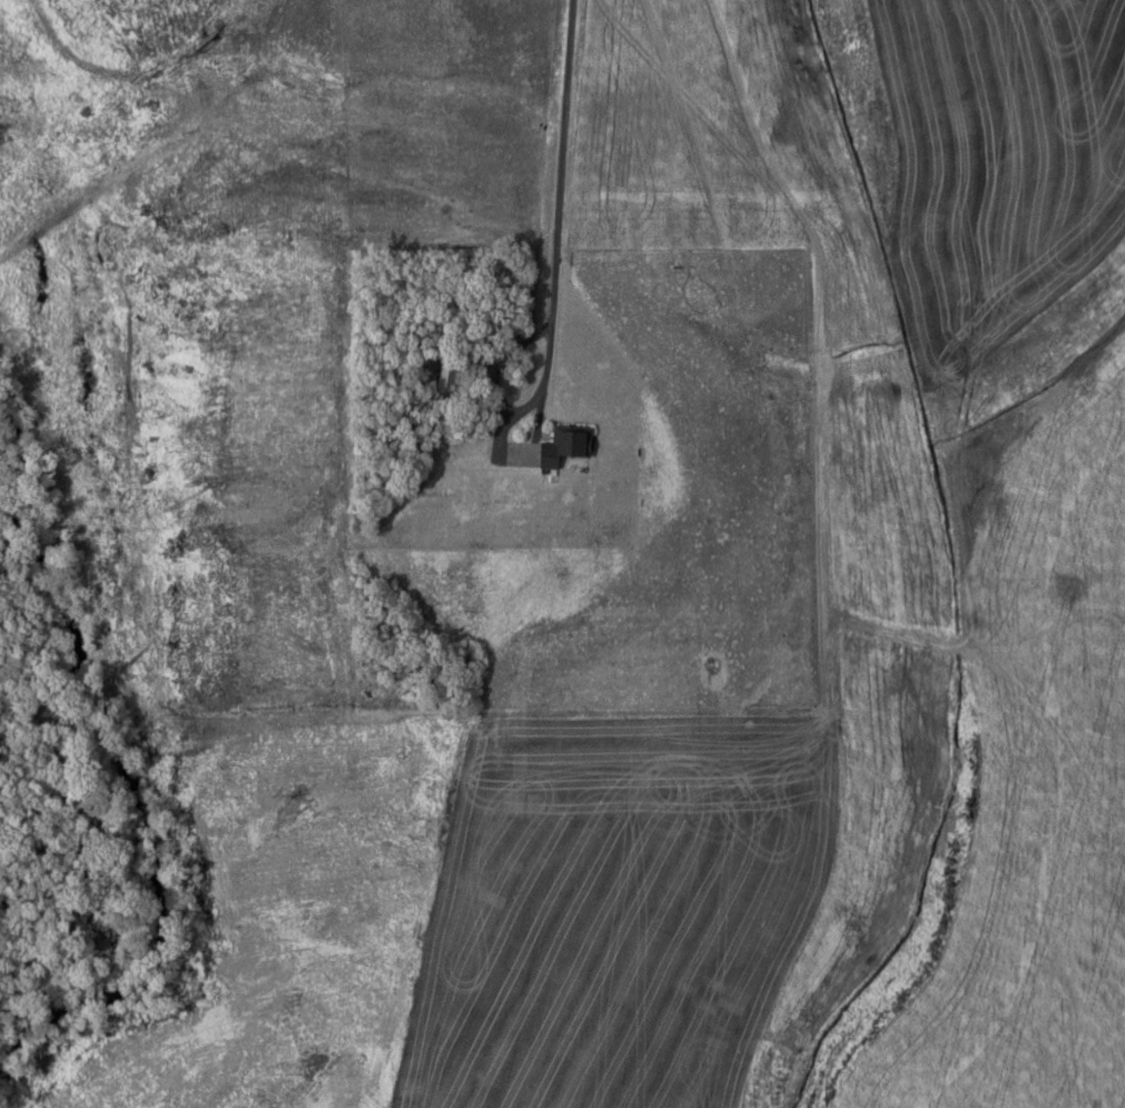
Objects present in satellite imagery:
crop: (1000, 155)
road: (562, 162)
building: (444, 374)
road: (502, 406)
building: (563, 445)
crop: (608, 725)
crop: (1038, 789)

